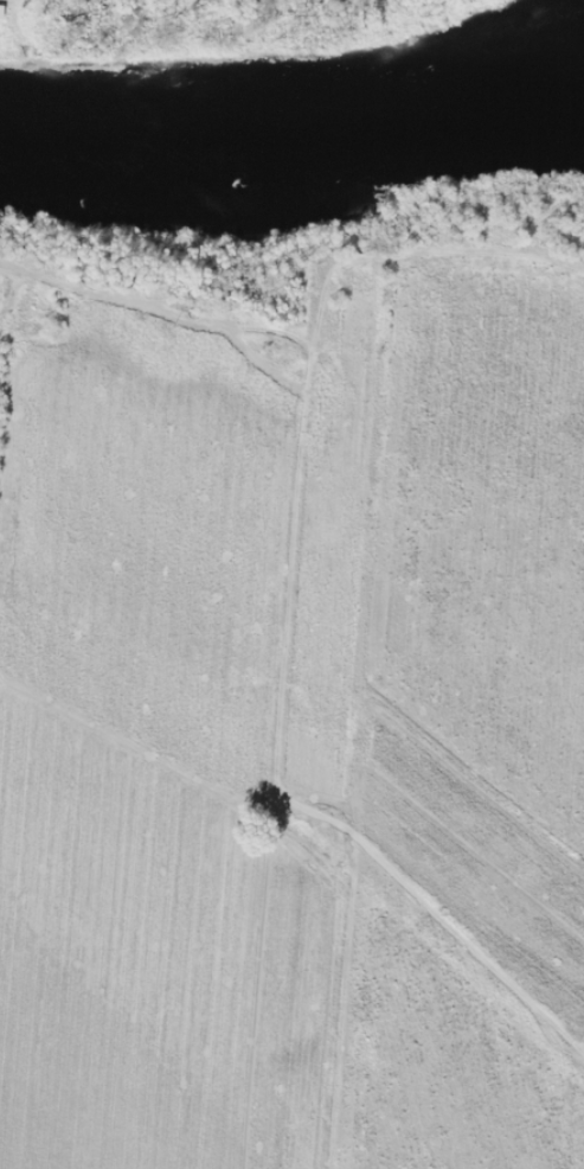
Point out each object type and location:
river: (293, 114)

